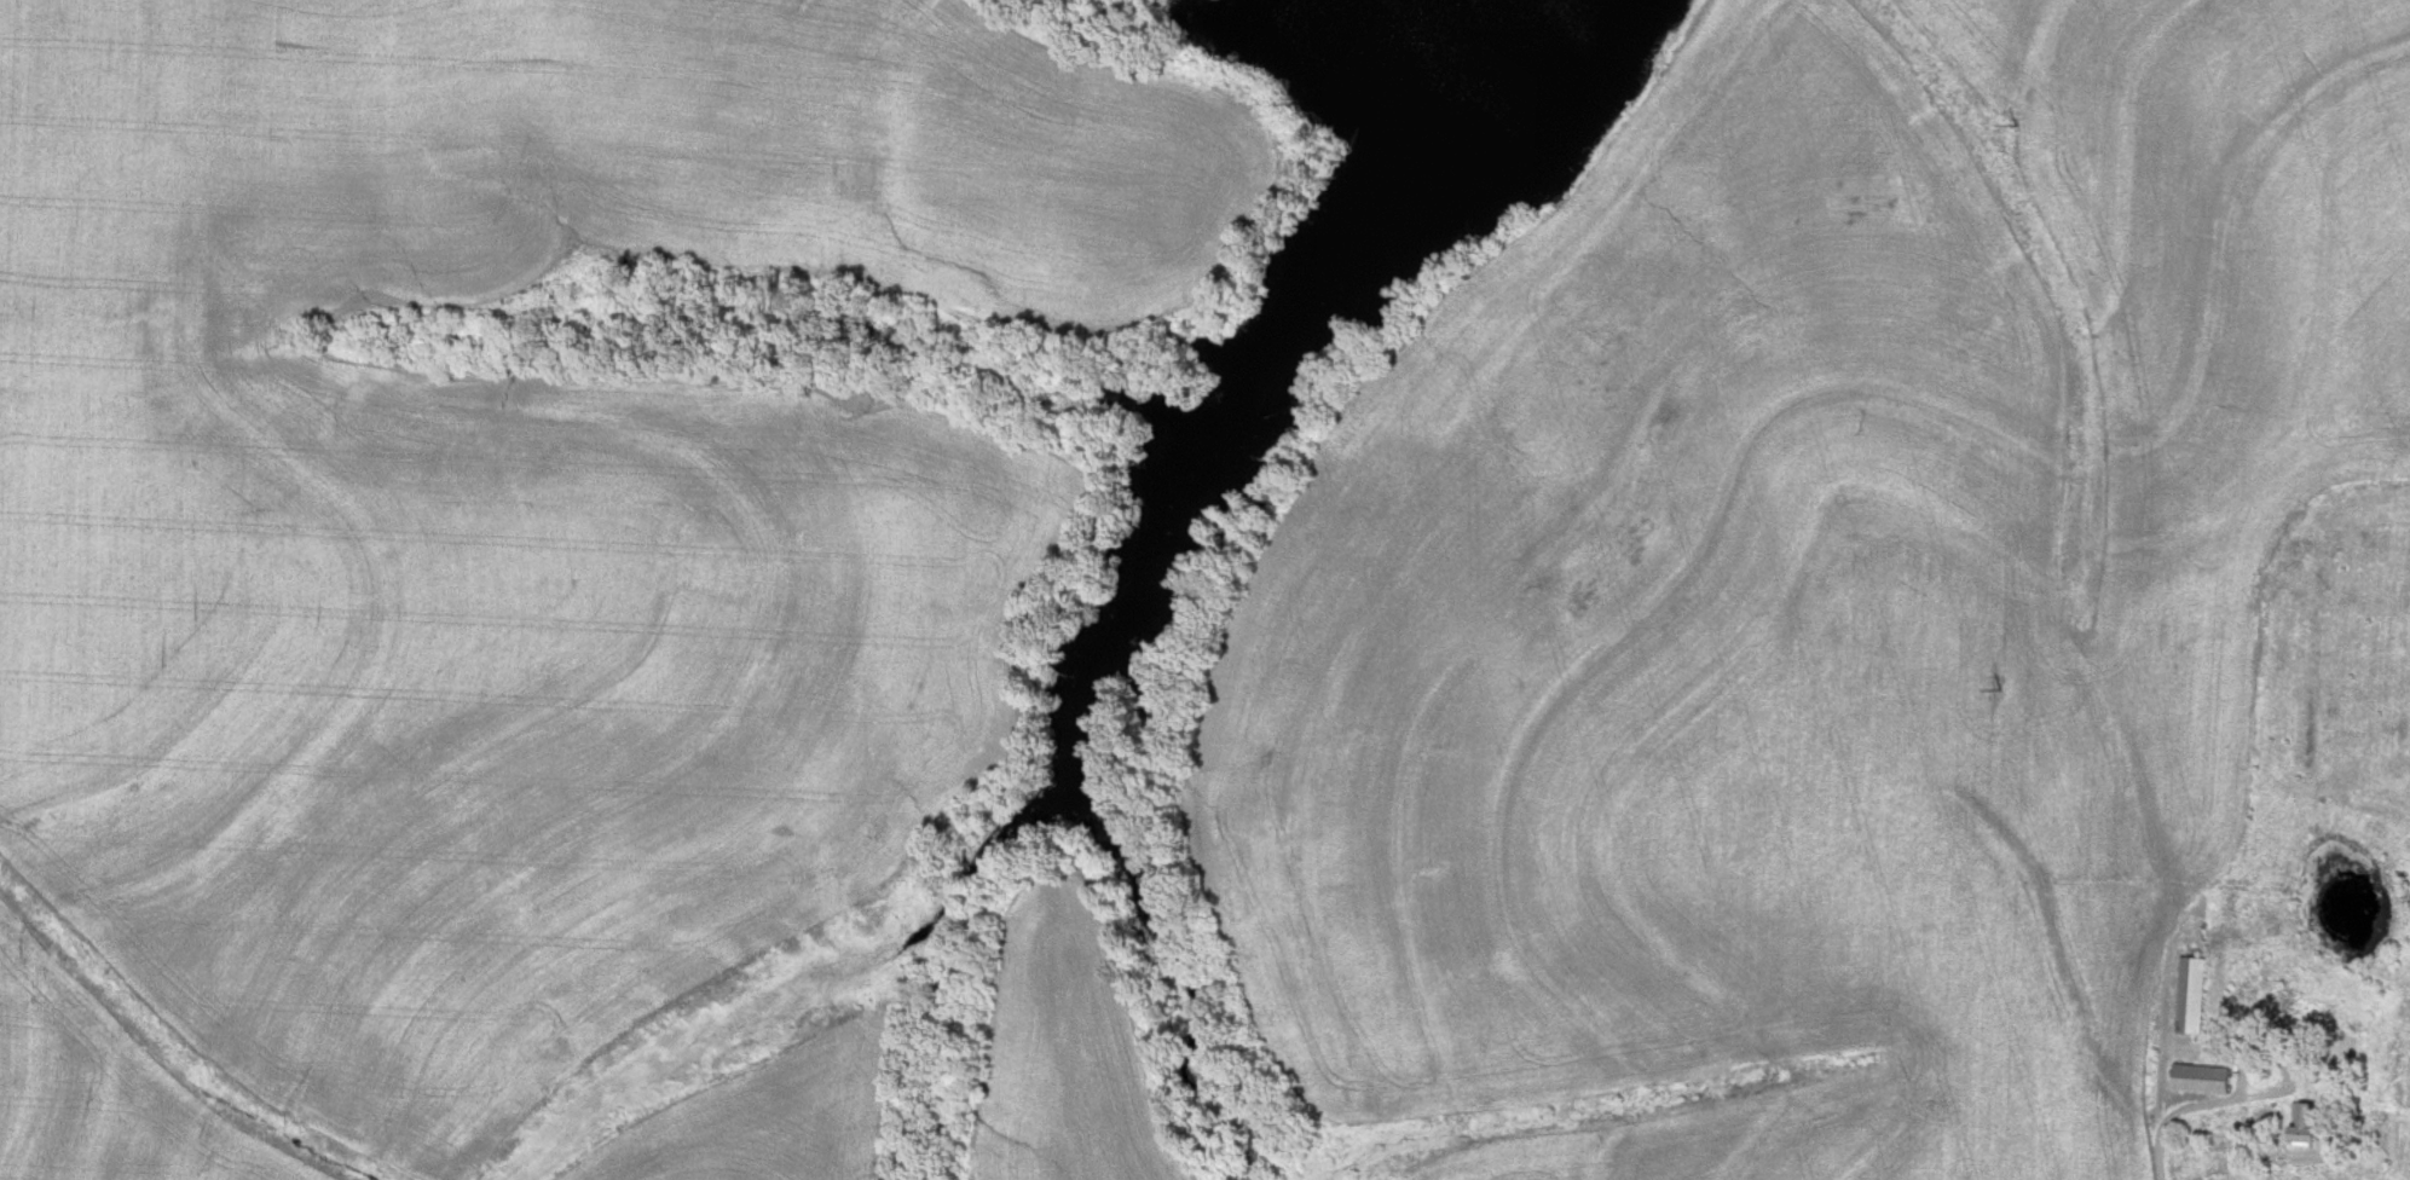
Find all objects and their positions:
building: (2184, 996)
building: (2194, 1078)
road: (2195, 1105)
building: (2298, 1126)

